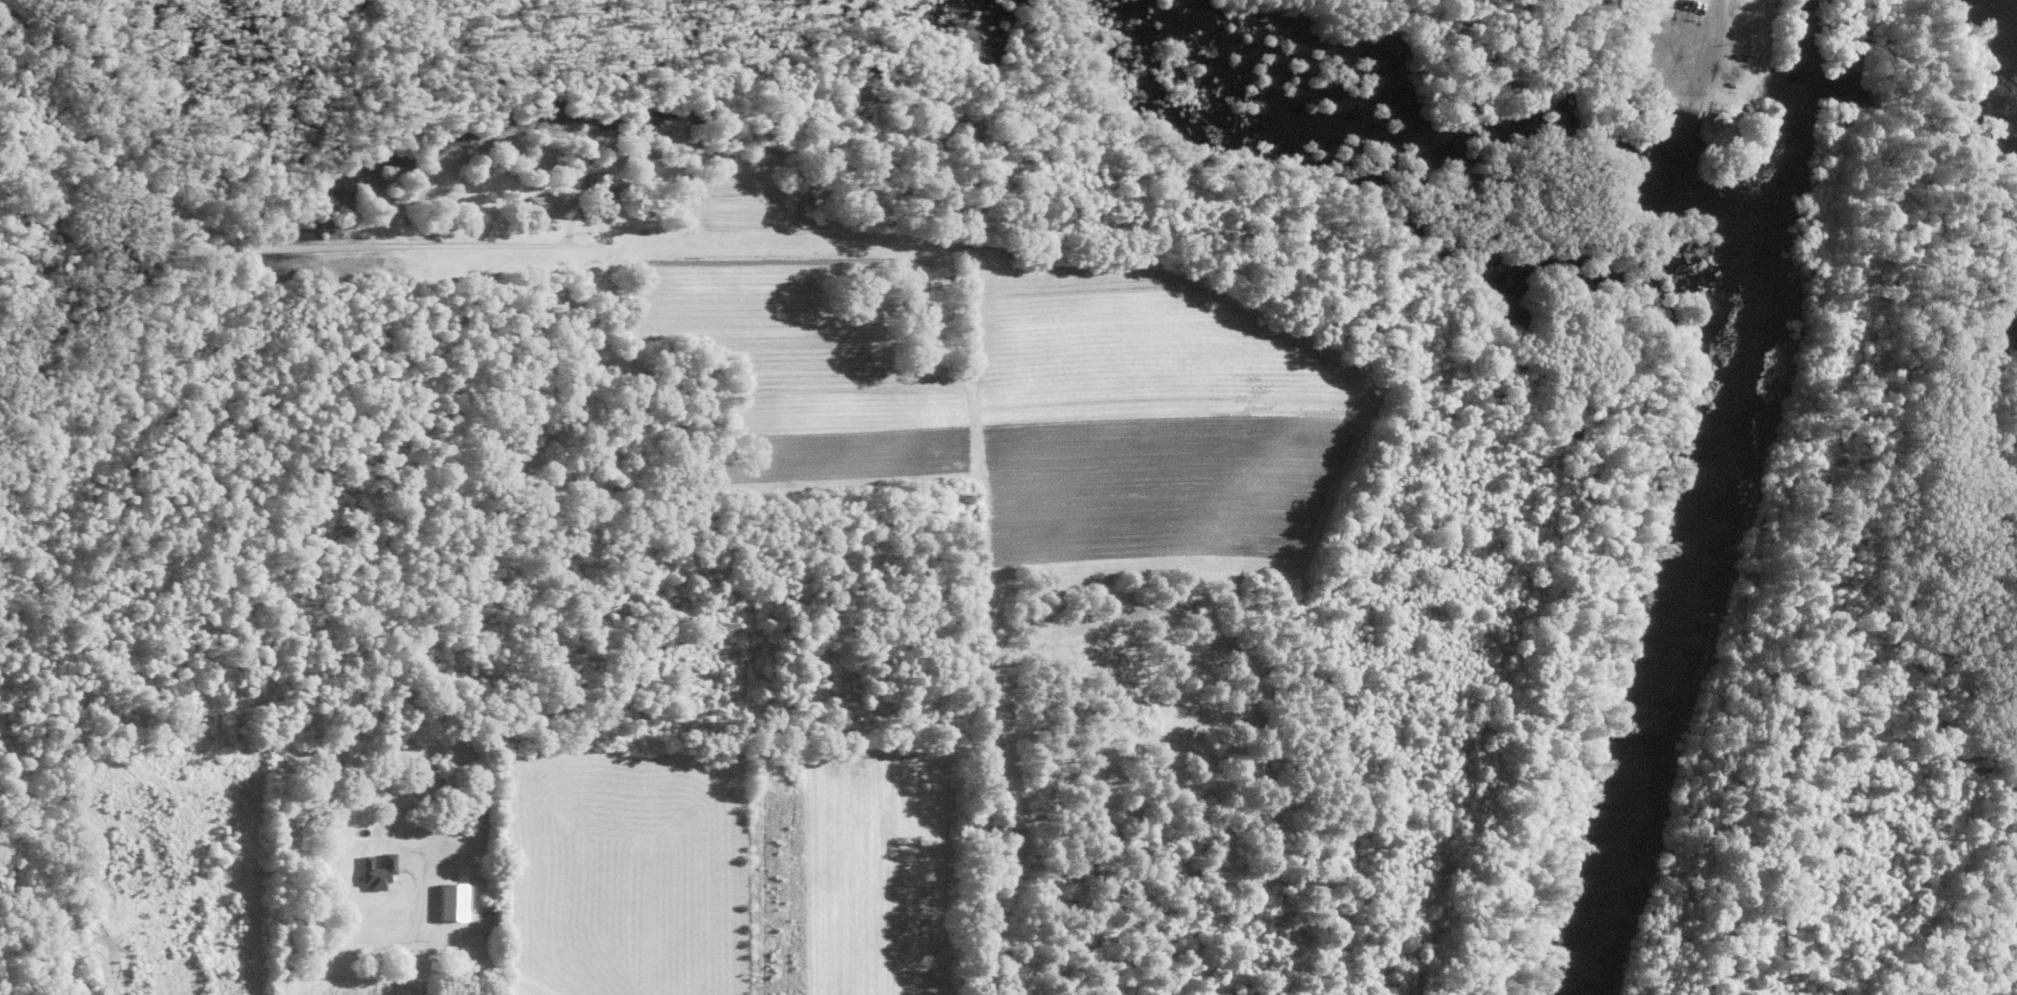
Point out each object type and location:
river: (2013, 4)
road: (1717, 18)
dam: (1991, 64)
dam: (1962, 84)

